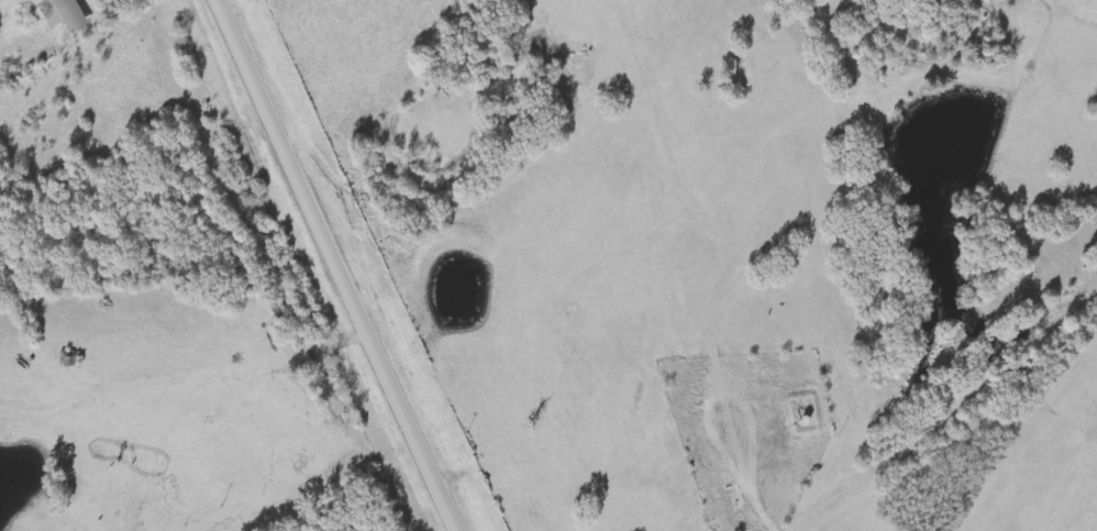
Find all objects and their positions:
building: (67, 14)
road: (333, 266)

